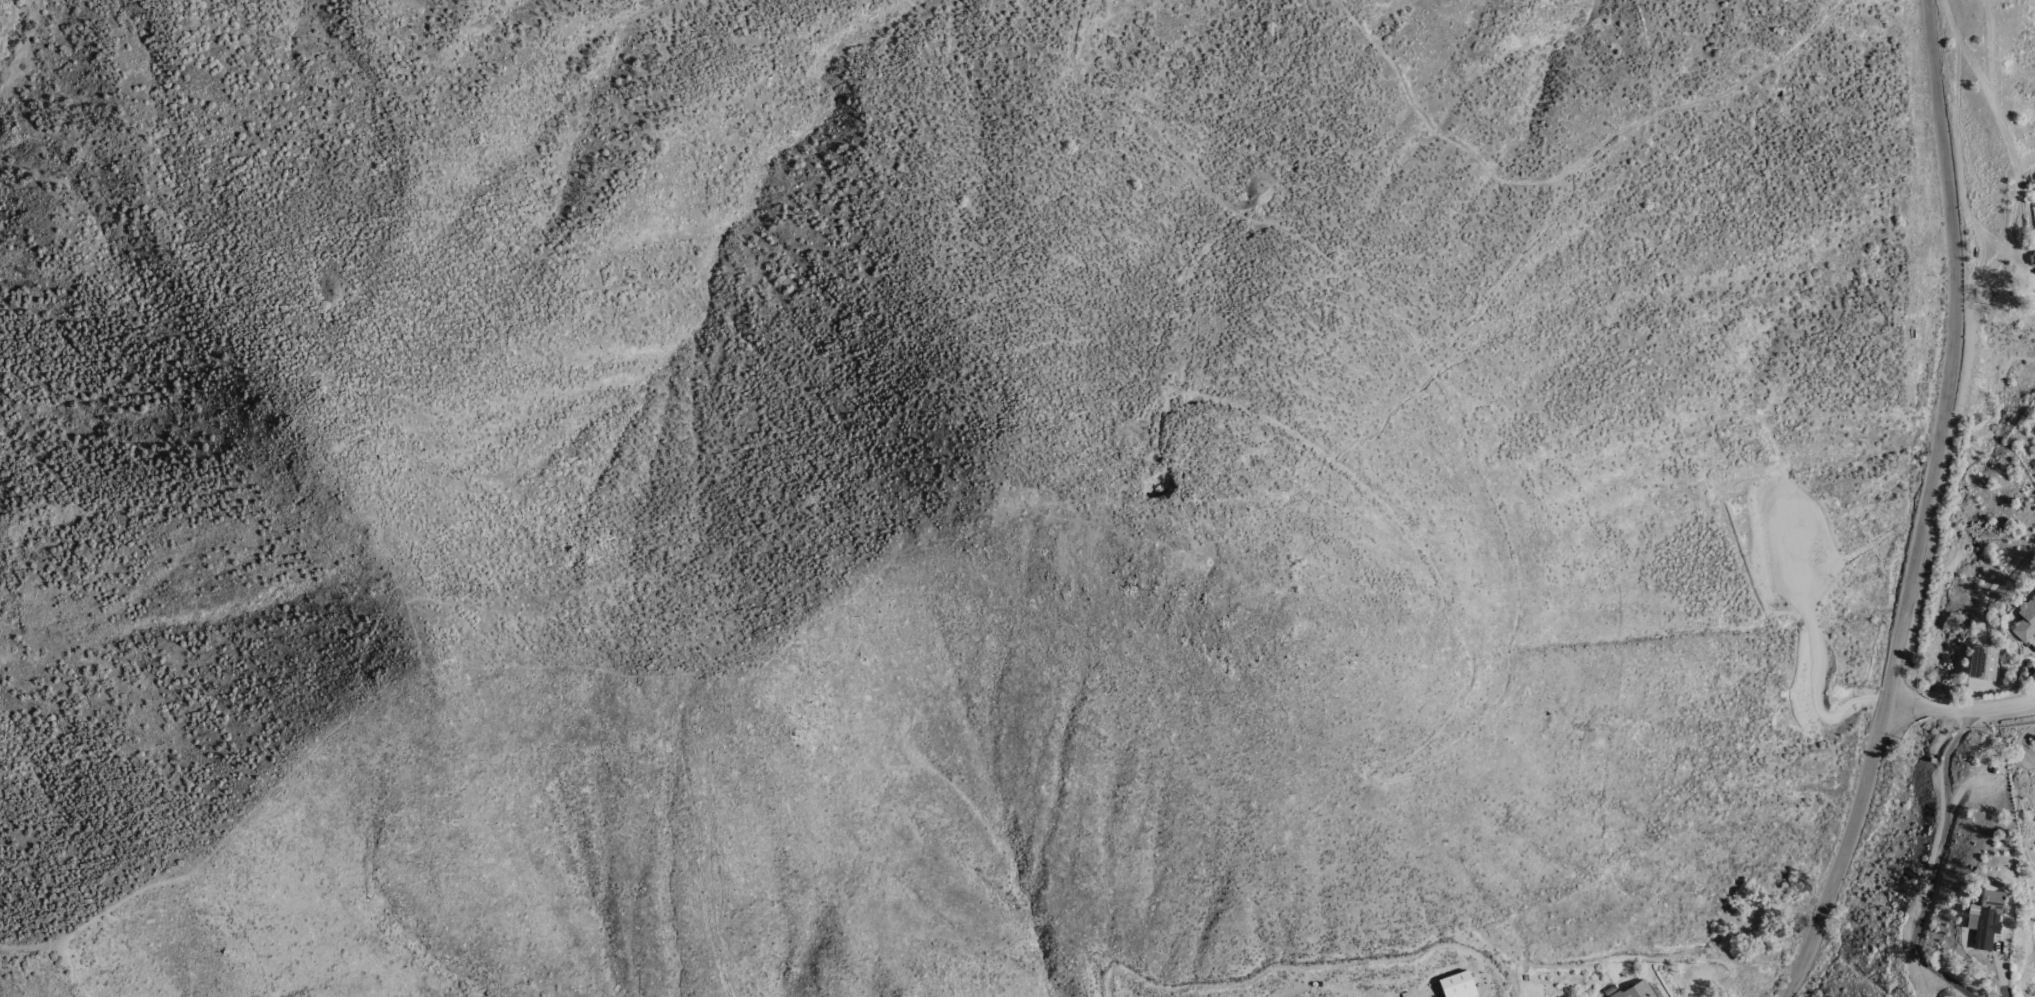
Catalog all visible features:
road: (1933, 509)
building: (2022, 619)
building: (1980, 663)
road: (1965, 707)
road: (1931, 865)
building: (1985, 919)
building: (1456, 985)
building: (1633, 990)

